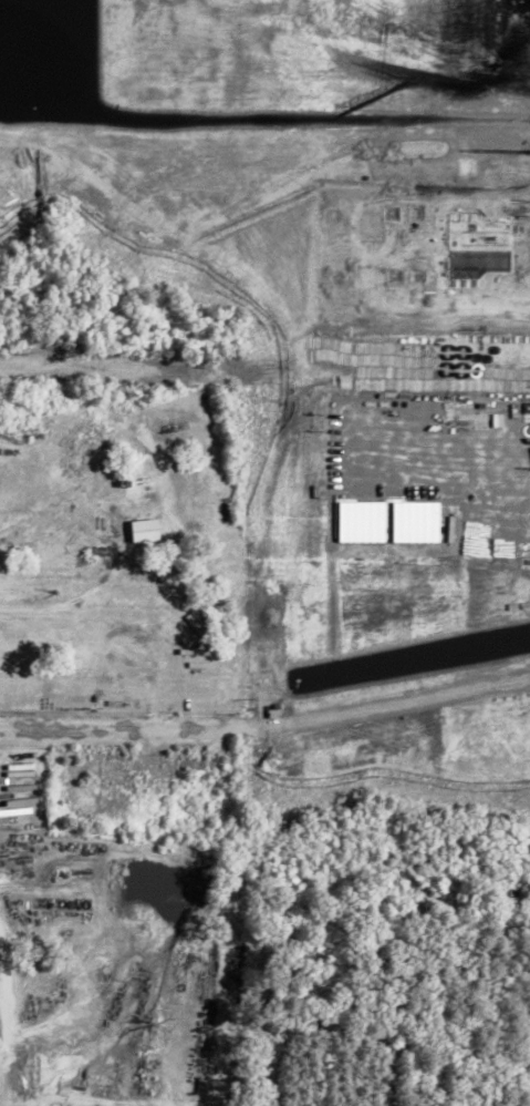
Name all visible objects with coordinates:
building: (148, 529)
road: (95, 727)

